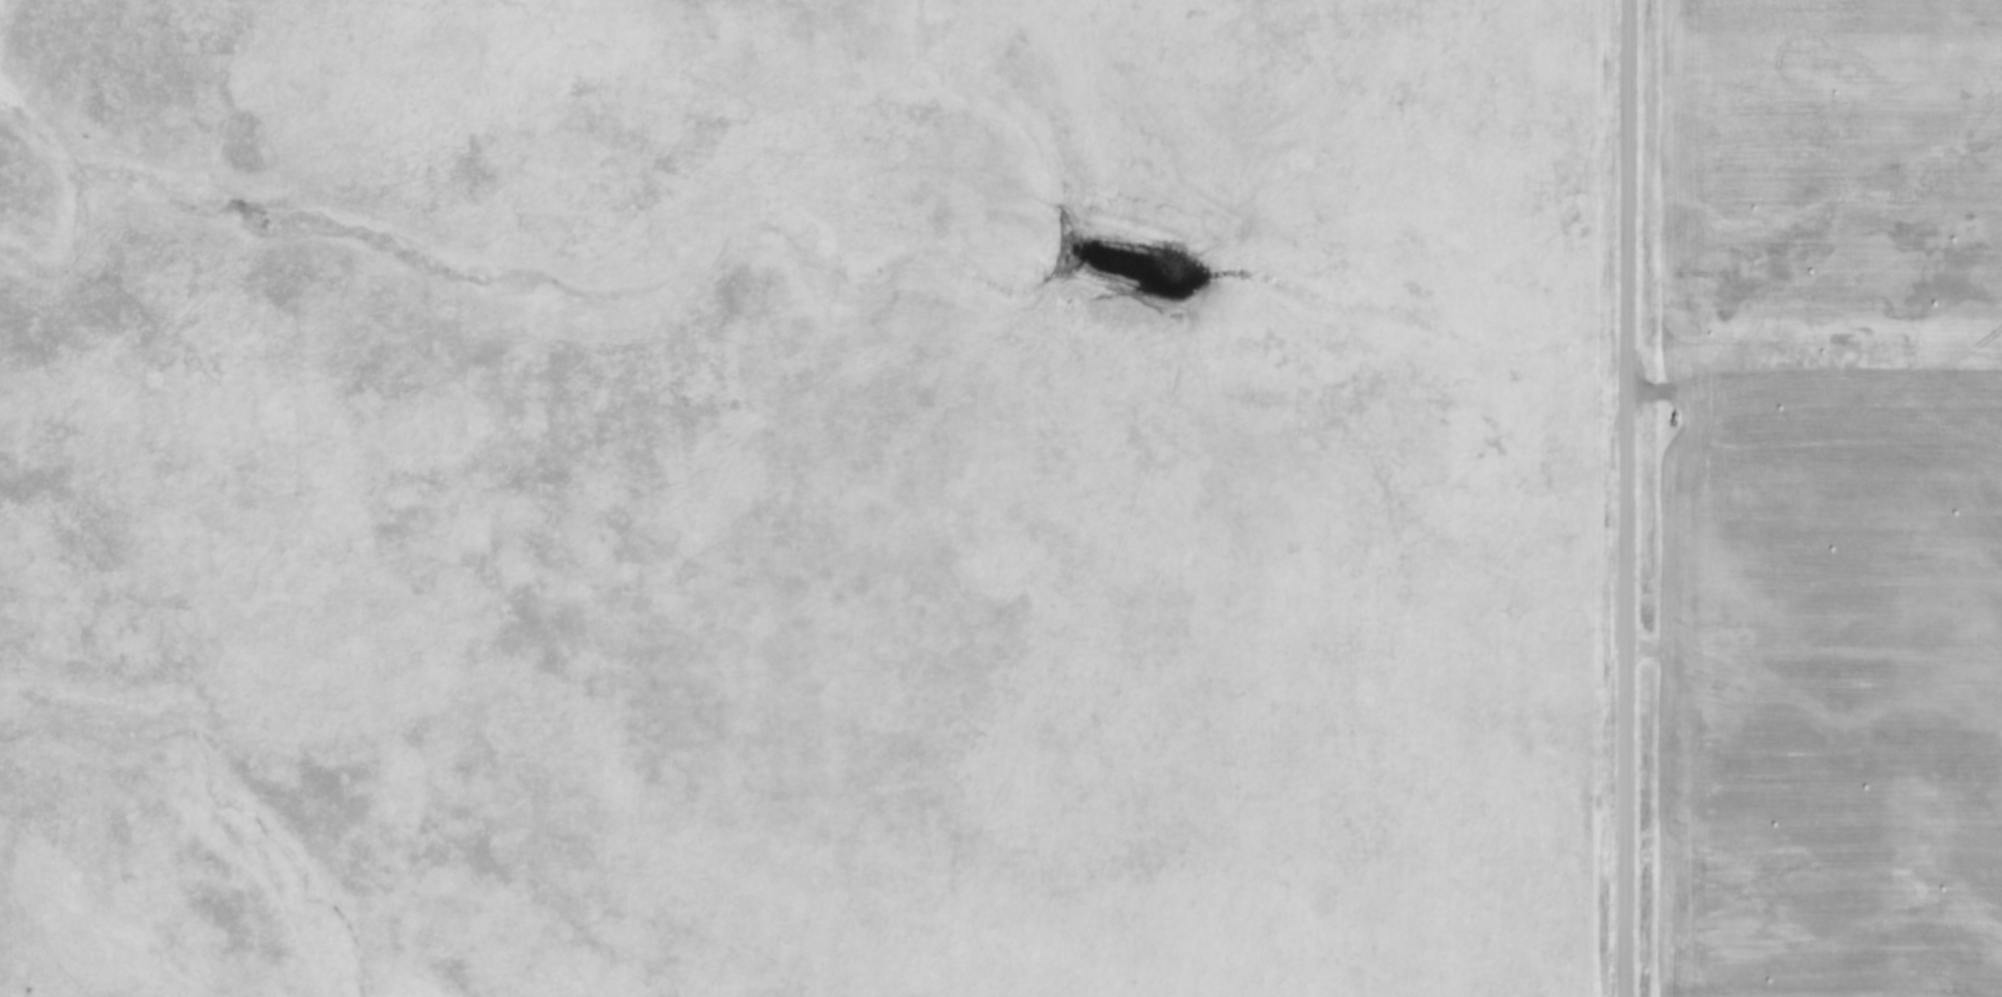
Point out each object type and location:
road: (1625, 498)

